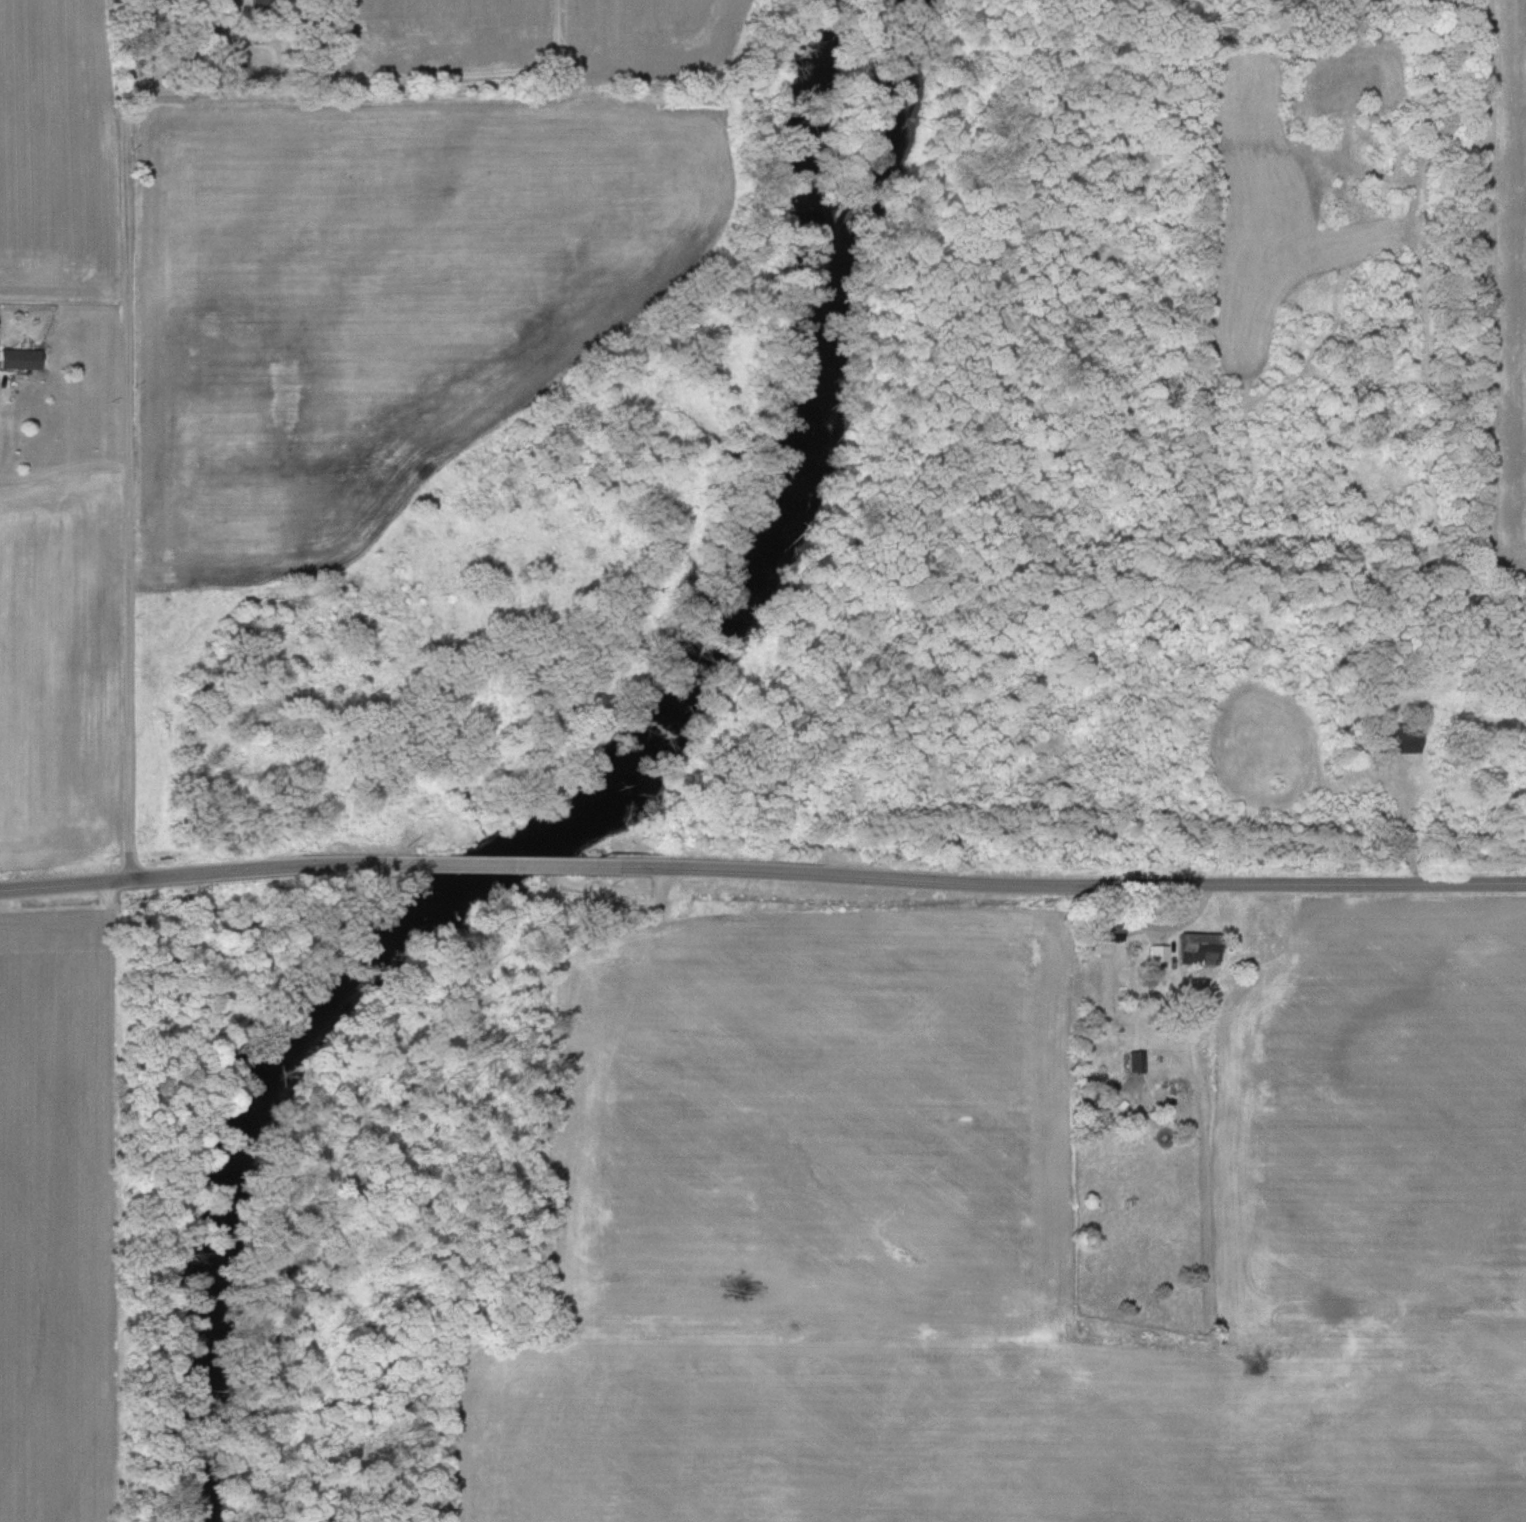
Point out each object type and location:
building: (267, 4)
building: (235, 55)
building: (18, 360)
road: (122, 417)
building: (1397, 740)
river: (594, 809)
road: (749, 891)
building: (1227, 917)
building: (1110, 929)
building: (1198, 948)
building: (1158, 954)
building: (1137, 1061)

